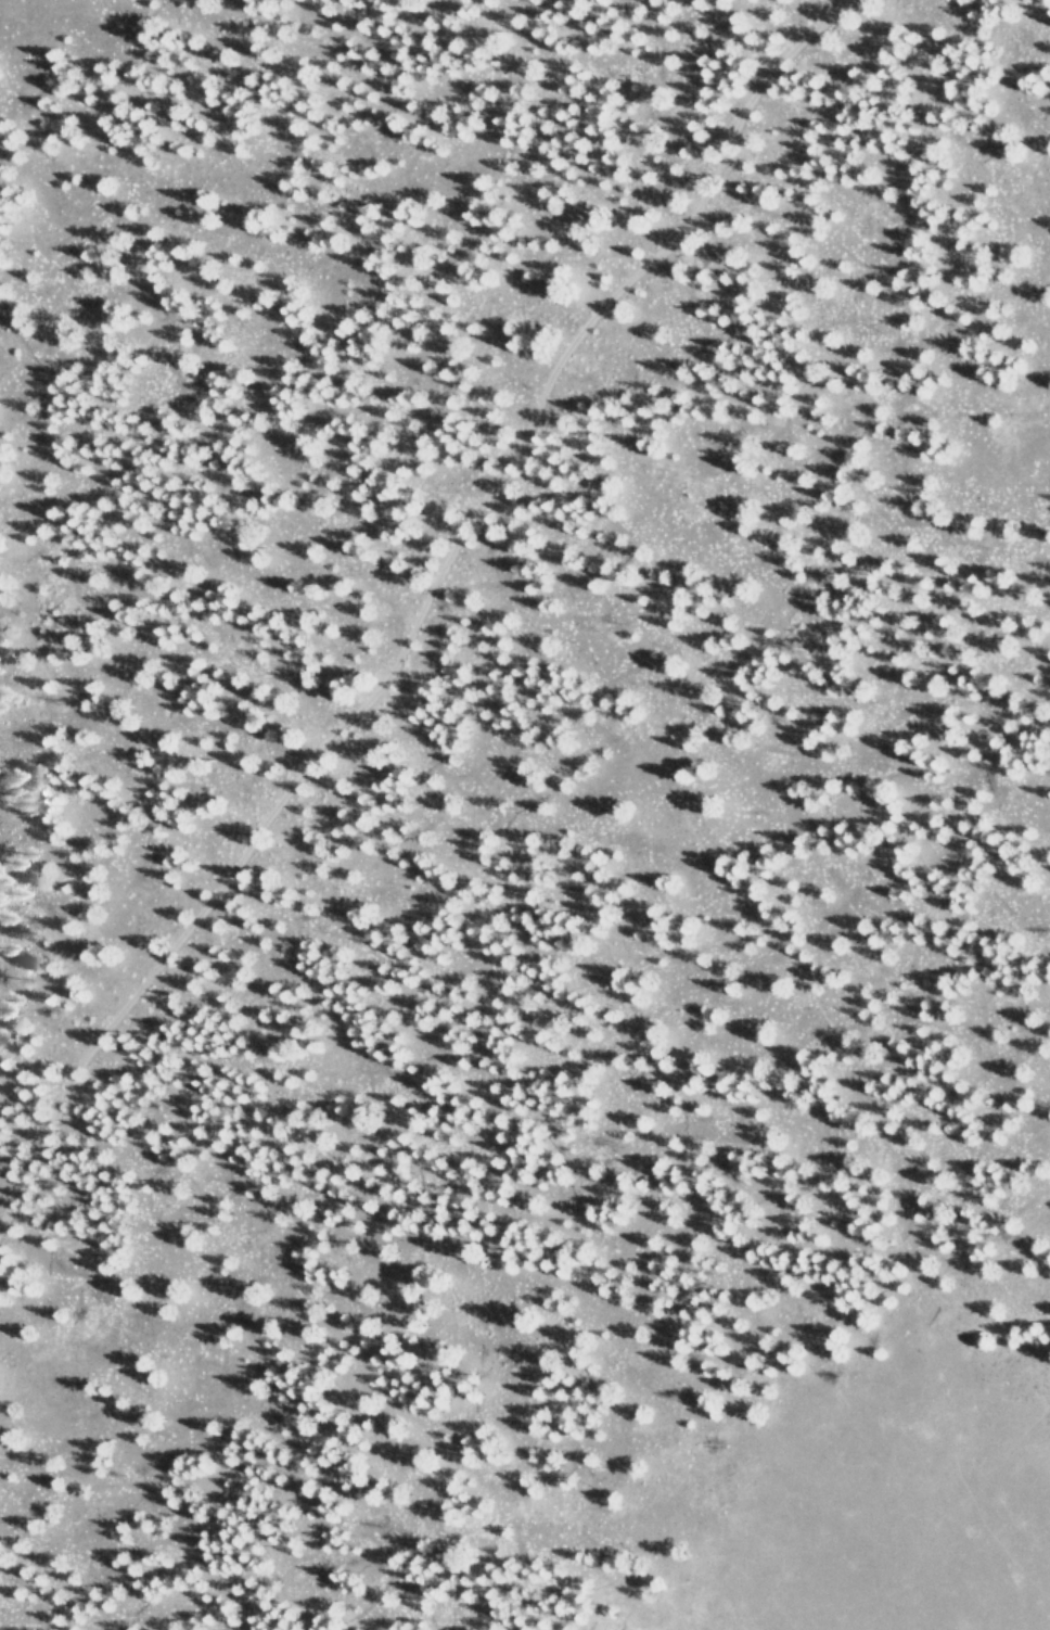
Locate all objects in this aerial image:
road: (406, 557)
road: (797, 1586)

